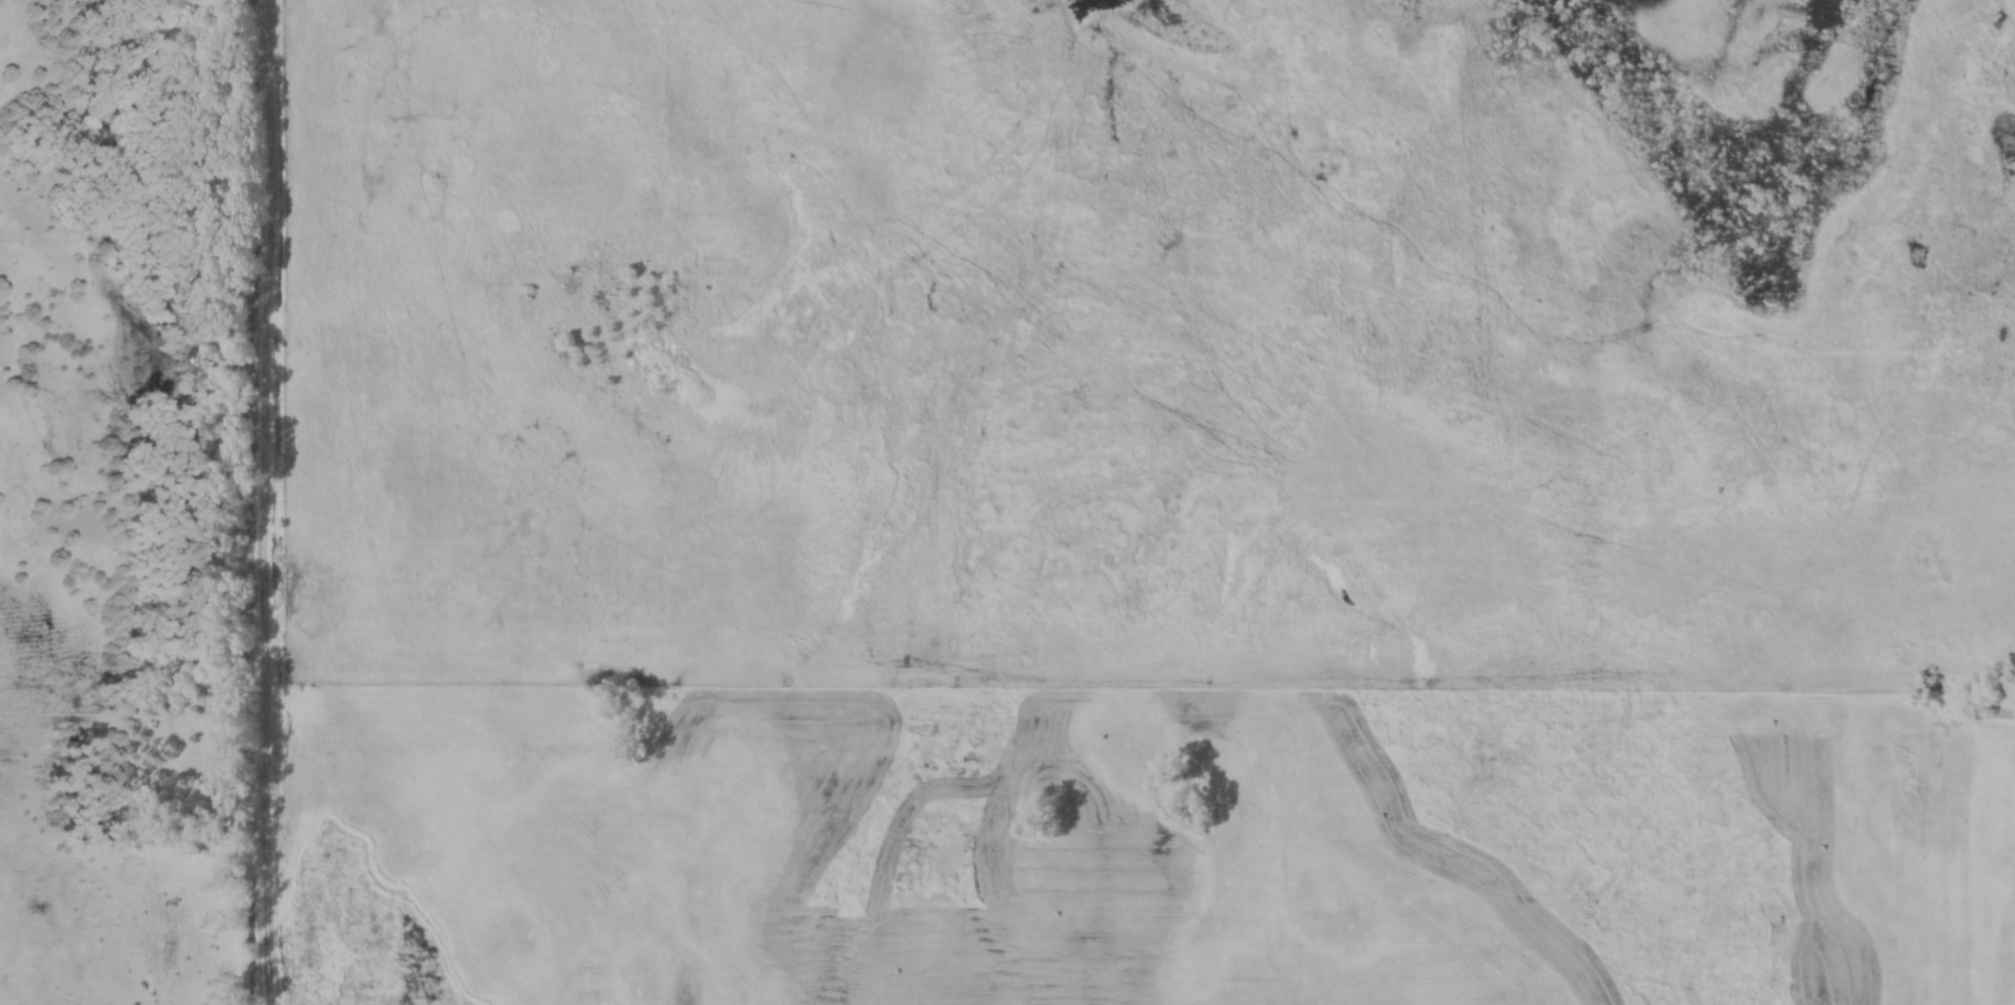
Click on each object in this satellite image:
road: (261, 502)
building: (1521, 812)
building: (1441, 819)
building: (1541, 839)

